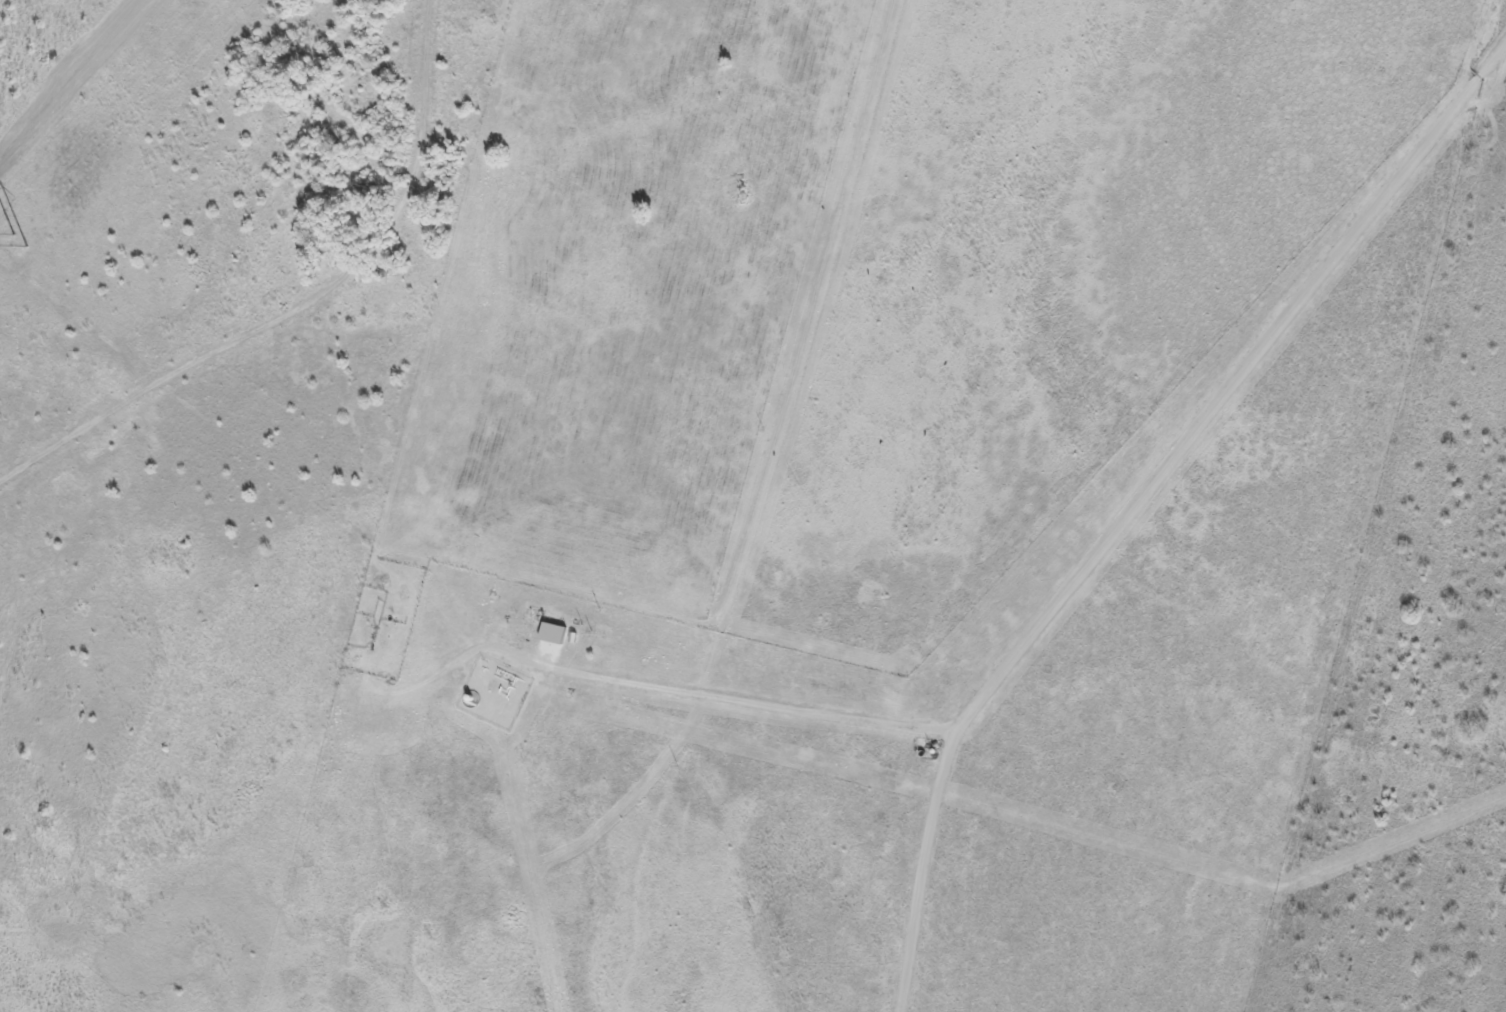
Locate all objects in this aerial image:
power tower: (19, 251)
road: (1121, 512)
building: (579, 637)
building: (605, 644)
building: (498, 693)
road: (924, 871)

